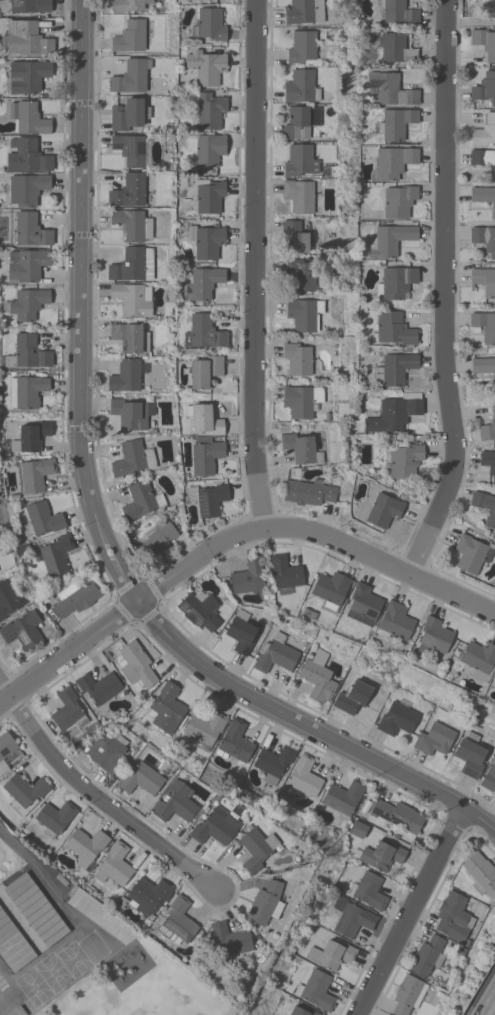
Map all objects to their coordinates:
building: (128, 5)
building: (31, 7)
building: (304, 12)
building: (396, 12)
road: (470, 22)
building: (209, 25)
building: (130, 37)
building: (26, 38)
building: (484, 42)
building: (394, 47)
building: (303, 48)
building: (206, 67)
building: (27, 76)
building: (131, 76)
building: (301, 86)
building: (485, 88)
building: (390, 89)
building: (208, 110)
building: (129, 114)
building: (28, 118)
building: (301, 122)
building: (396, 123)
building: (484, 131)
building: (132, 149)
building: (206, 150)
building: (27, 156)
building: (484, 160)
building: (299, 161)
building: (393, 162)
building: (27, 189)
building: (135, 190)
building: (299, 195)
building: (209, 196)
building: (483, 196)
building: (399, 201)
building: (132, 224)
building: (31, 230)
building: (295, 237)
building: (484, 238)
building: (390, 240)
building: (206, 241)
road: (254, 263)
building: (133, 264)
building: (27, 265)
building: (301, 275)
building: (484, 280)
building: (395, 282)
building: (202, 283)
road: (443, 293)
building: (133, 299)
building: (27, 304)
road: (81, 308)
building: (304, 314)
building: (485, 325)
building: (393, 329)
building: (203, 332)
building: (130, 337)
building: (27, 353)
building: (298, 358)
building: (483, 366)
building: (394, 369)
building: (205, 371)
building: (127, 376)
building: (26, 391)
building: (299, 401)
building: (395, 412)
building: (129, 414)
building: (204, 418)
building: (488, 428)
building: (30, 437)
building: (302, 448)
building: (206, 455)
building: (133, 458)
building: (404, 458)
building: (488, 462)
building: (34, 474)
building: (308, 492)
building: (208, 498)
building: (141, 500)
building: (484, 505)
building: (382, 509)
building: (42, 519)
road: (232, 539)
building: (156, 540)
building: (22, 549)
building: (471, 553)
building: (56, 554)
building: (285, 574)
building: (248, 576)
building: (330, 590)
building: (44, 595)
building: (75, 598)
building: (9, 599)
building: (364, 602)
building: (200, 610)
building: (394, 621)
building: (23, 630)
building: (241, 632)
building: (435, 634)
building: (275, 654)
building: (479, 660)
building: (136, 663)
building: (318, 677)
building: (494, 677)
building: (99, 686)
building: (494, 686)
road: (3, 693)
building: (352, 697)
building: (166, 708)
building: (68, 710)
building: (397, 718)
building: (204, 728)
road: (308, 730)
building: (434, 739)
building: (235, 742)
building: (5, 749)
building: (107, 750)
building: (470, 755)
building: (274, 762)
building: (304, 776)
building: (489, 778)
building: (141, 779)
building: (24, 792)
building: (343, 798)
road: (103, 802)
building: (174, 802)
building: (397, 816)
building: (55, 818)
building: (214, 827)
building: (358, 829)
building: (85, 846)
building: (256, 849)
building: (379, 856)
building: (114, 865)
building: (481, 874)
road: (48, 876)
building: (368, 891)
building: (148, 894)
building: (265, 903)
building: (36, 910)
road: (410, 911)
building: (352, 918)
building: (453, 918)
building: (177, 922)
building: (230, 939)
building: (13, 944)
building: (331, 954)
building: (428, 955)
building: (316, 990)
building: (408, 995)
building: (302, 1011)
road: (492, 1011)

